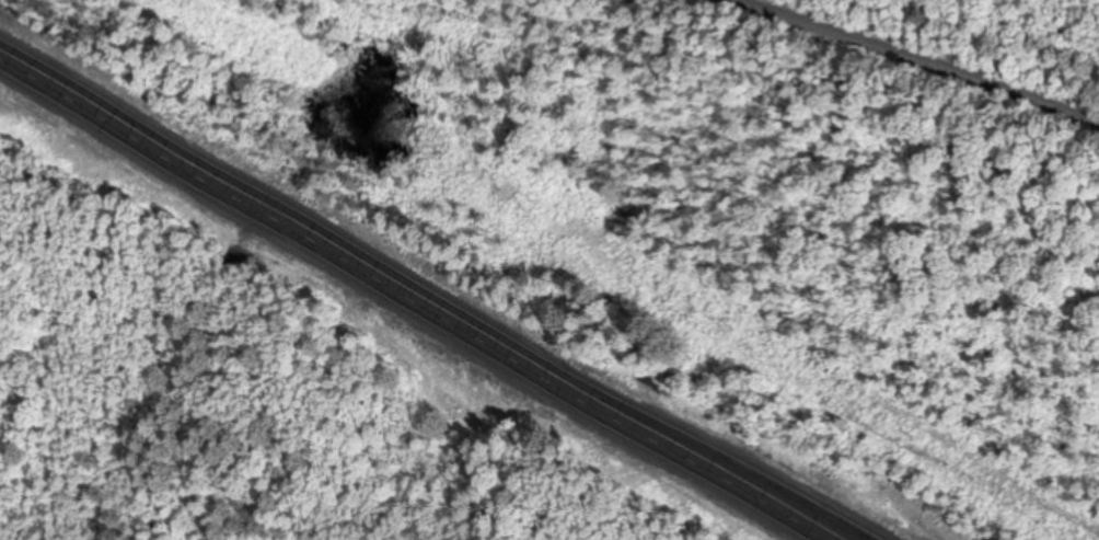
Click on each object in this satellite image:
road: (906, 65)
road: (421, 296)

